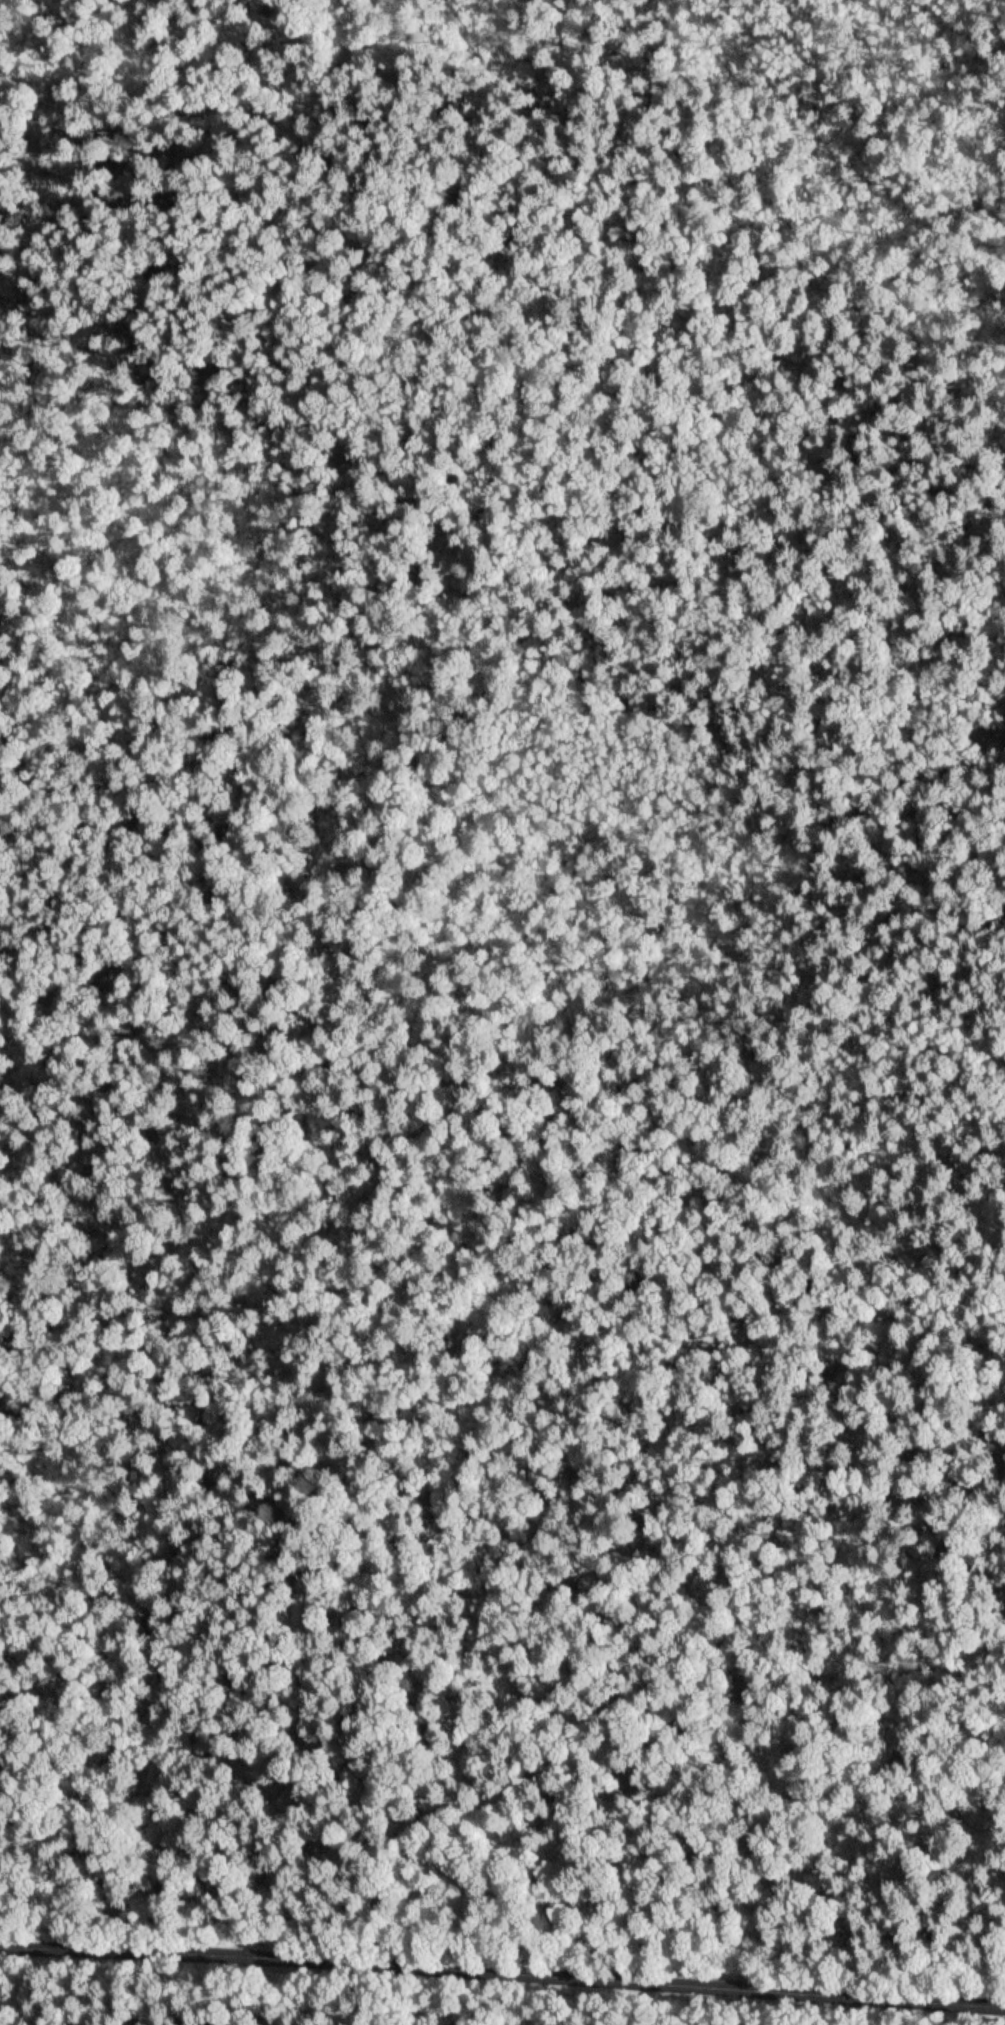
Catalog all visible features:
road: (502, 1980)
road: (285, 1997)

